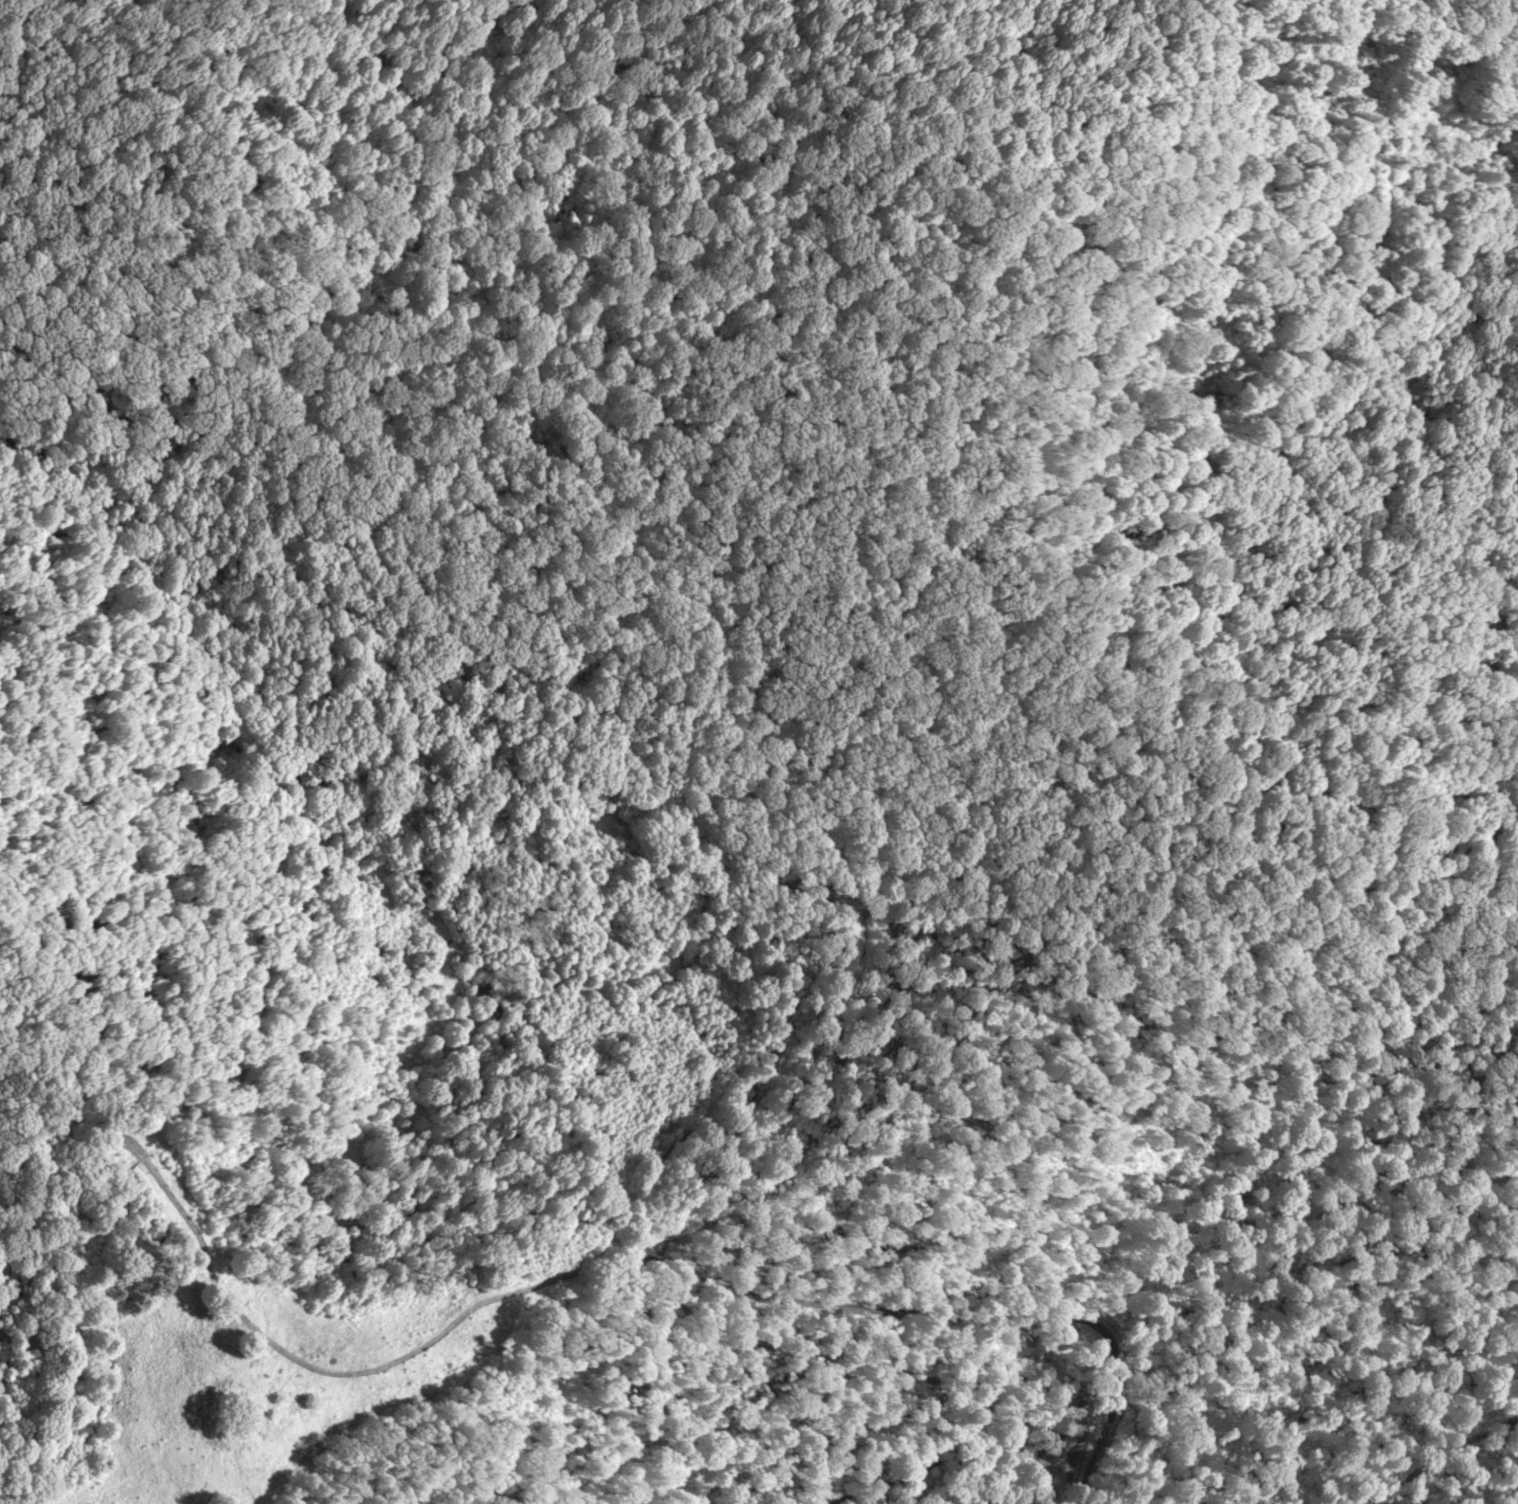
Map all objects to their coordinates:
road: (924, 1314)

